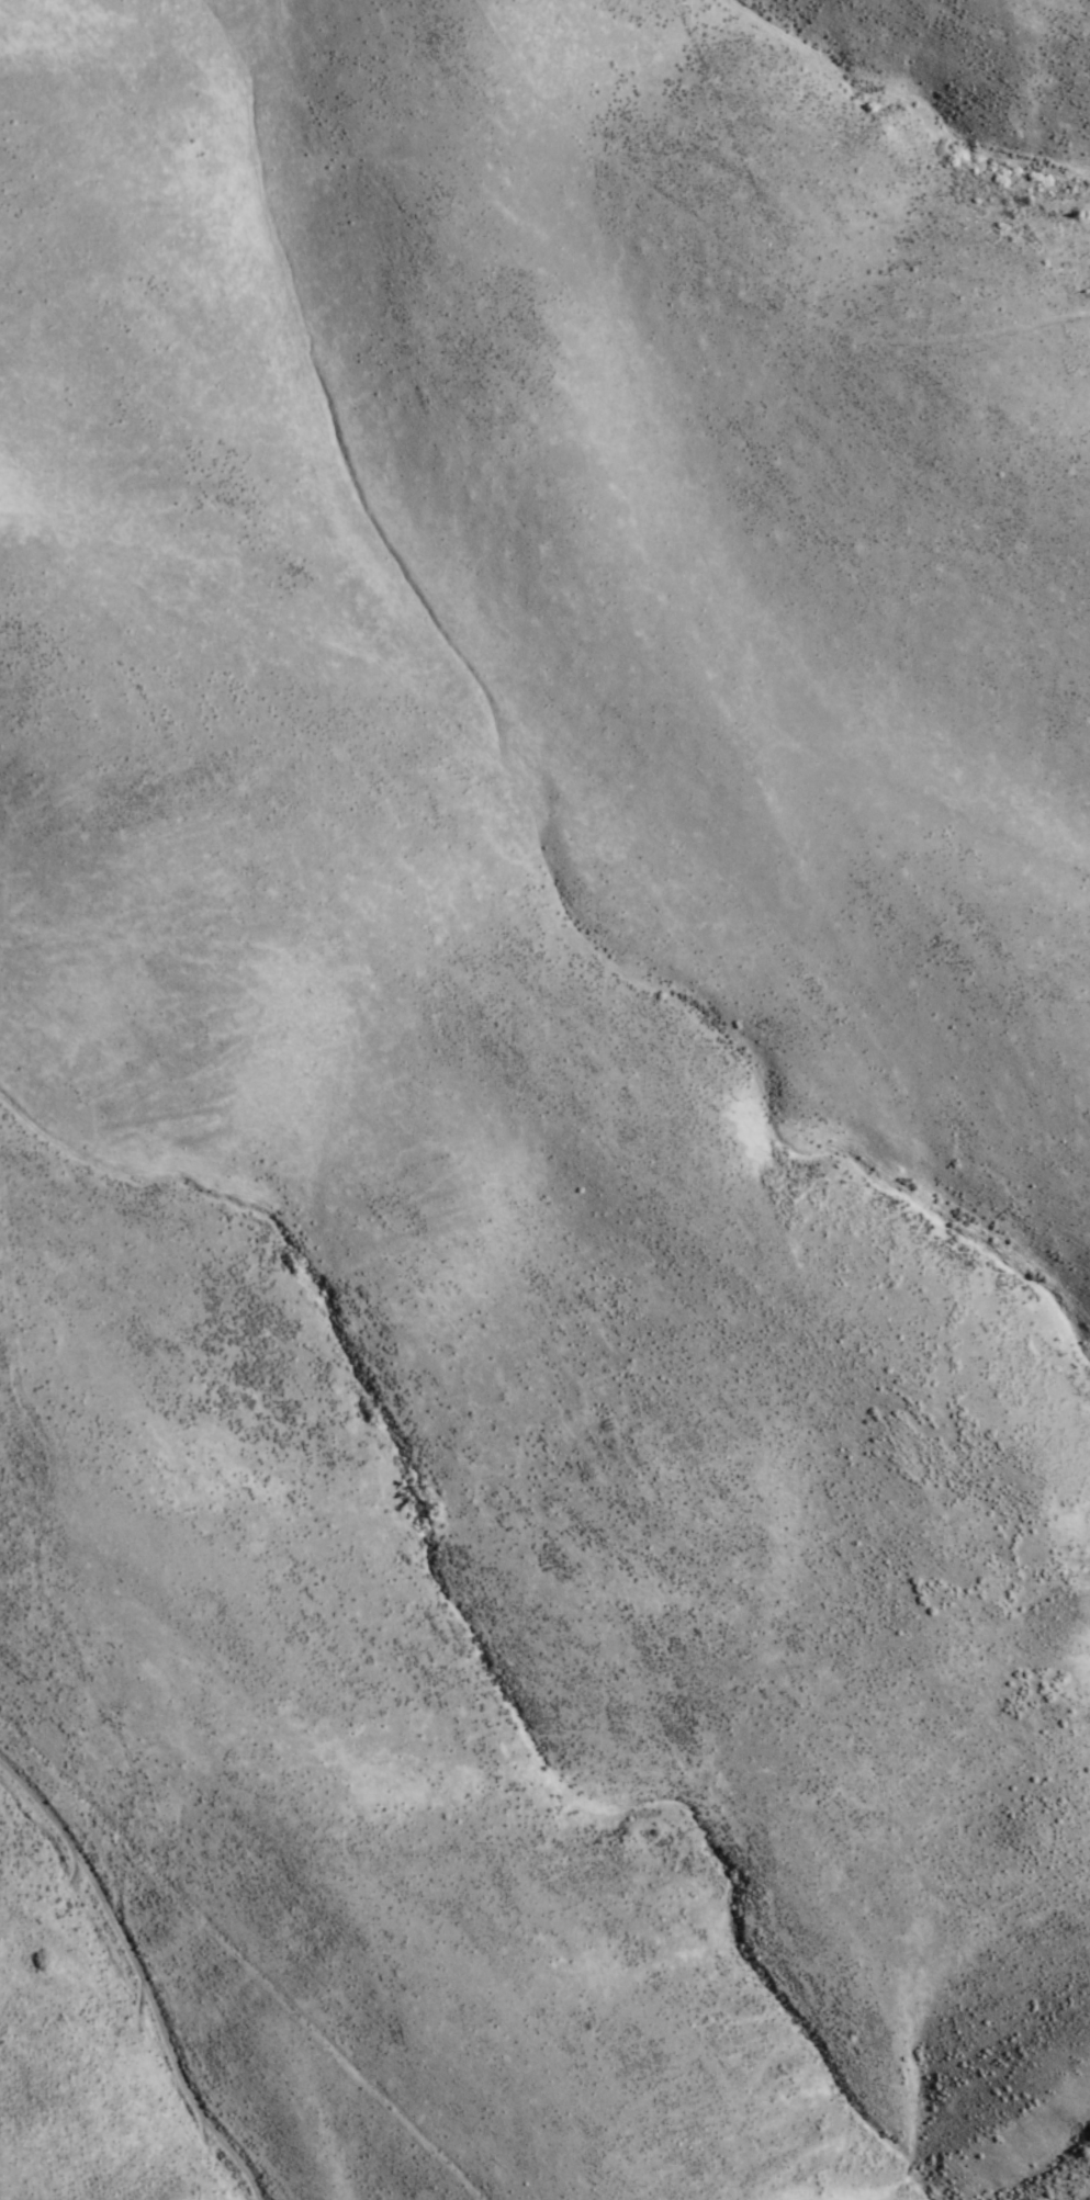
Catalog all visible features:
road: (139, 1974)

